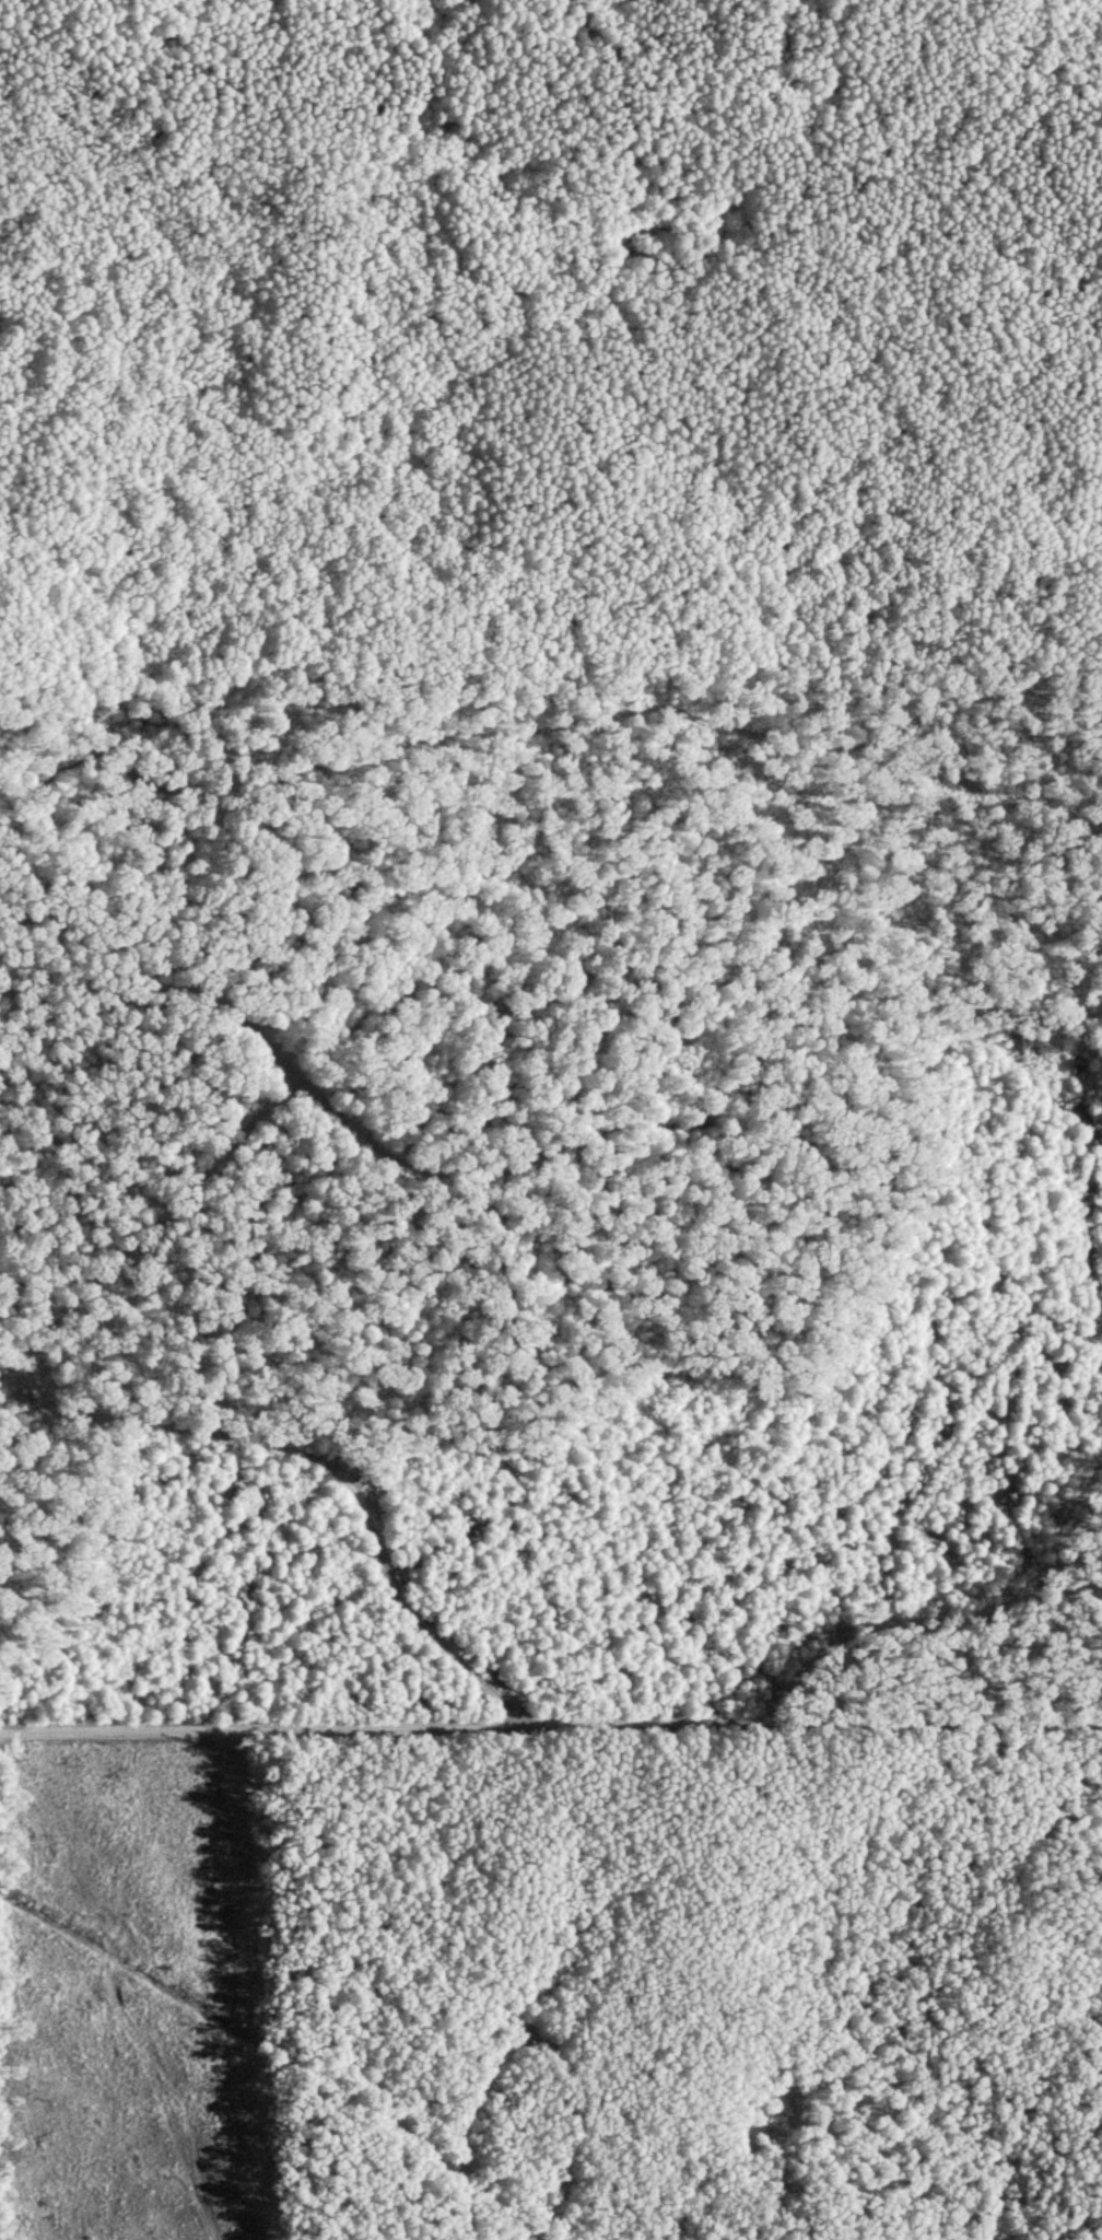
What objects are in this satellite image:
road: (551, 1731)

